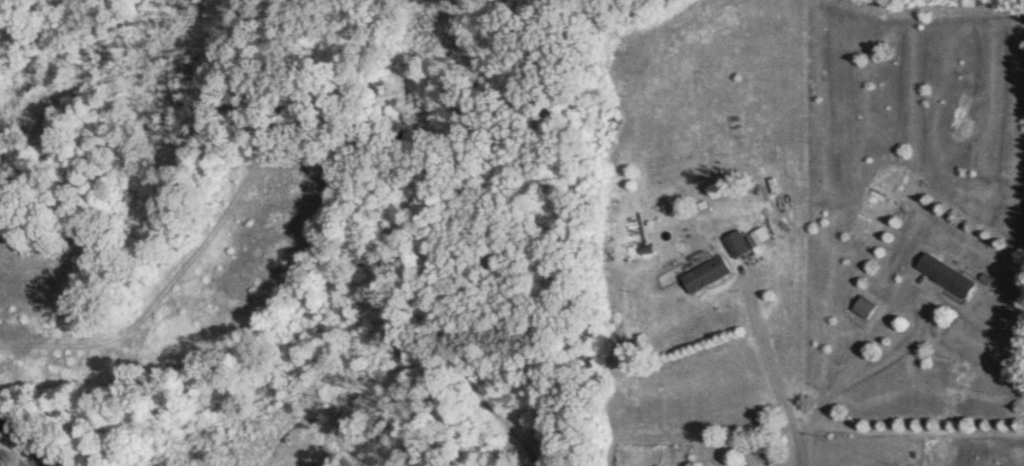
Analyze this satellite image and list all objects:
building: (735, 244)
building: (706, 274)
building: (945, 275)
building: (863, 307)
road: (850, 365)
road: (773, 368)
road: (24, 442)
road: (801, 459)

